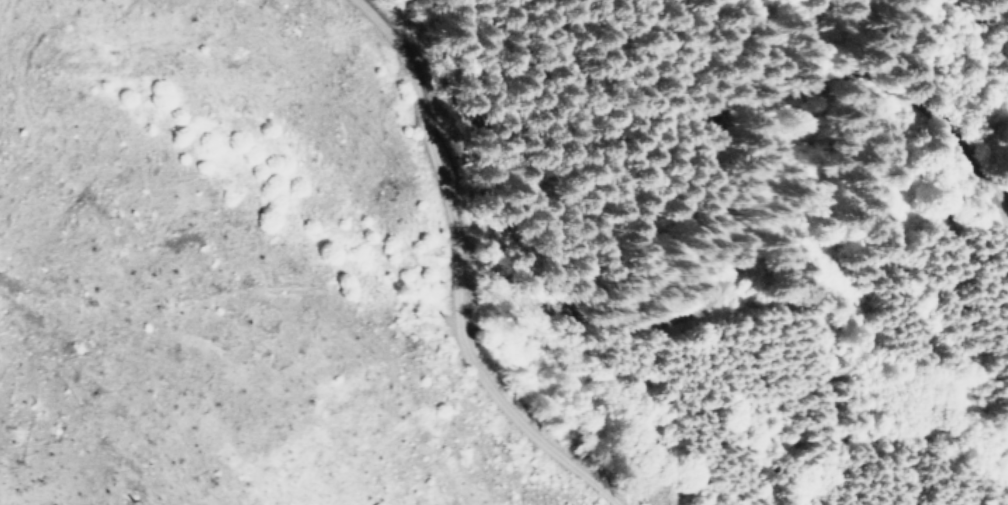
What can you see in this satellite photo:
road: (749, 164)
road: (494, 256)

